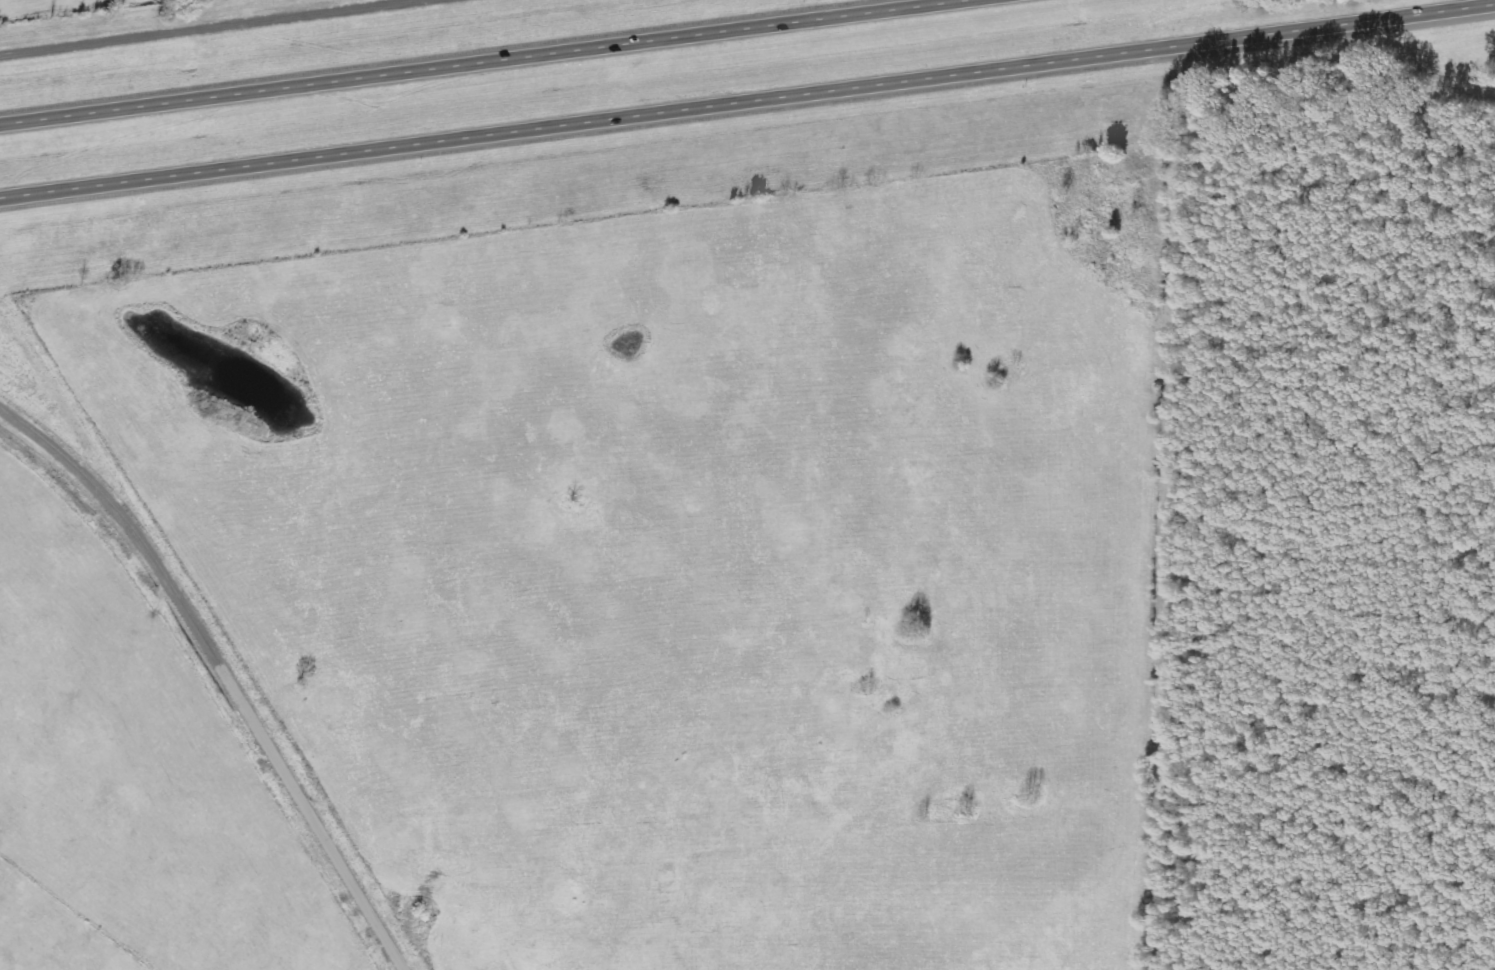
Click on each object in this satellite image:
road: (206, 25)
road: (463, 61)
road: (740, 102)
road: (227, 667)

